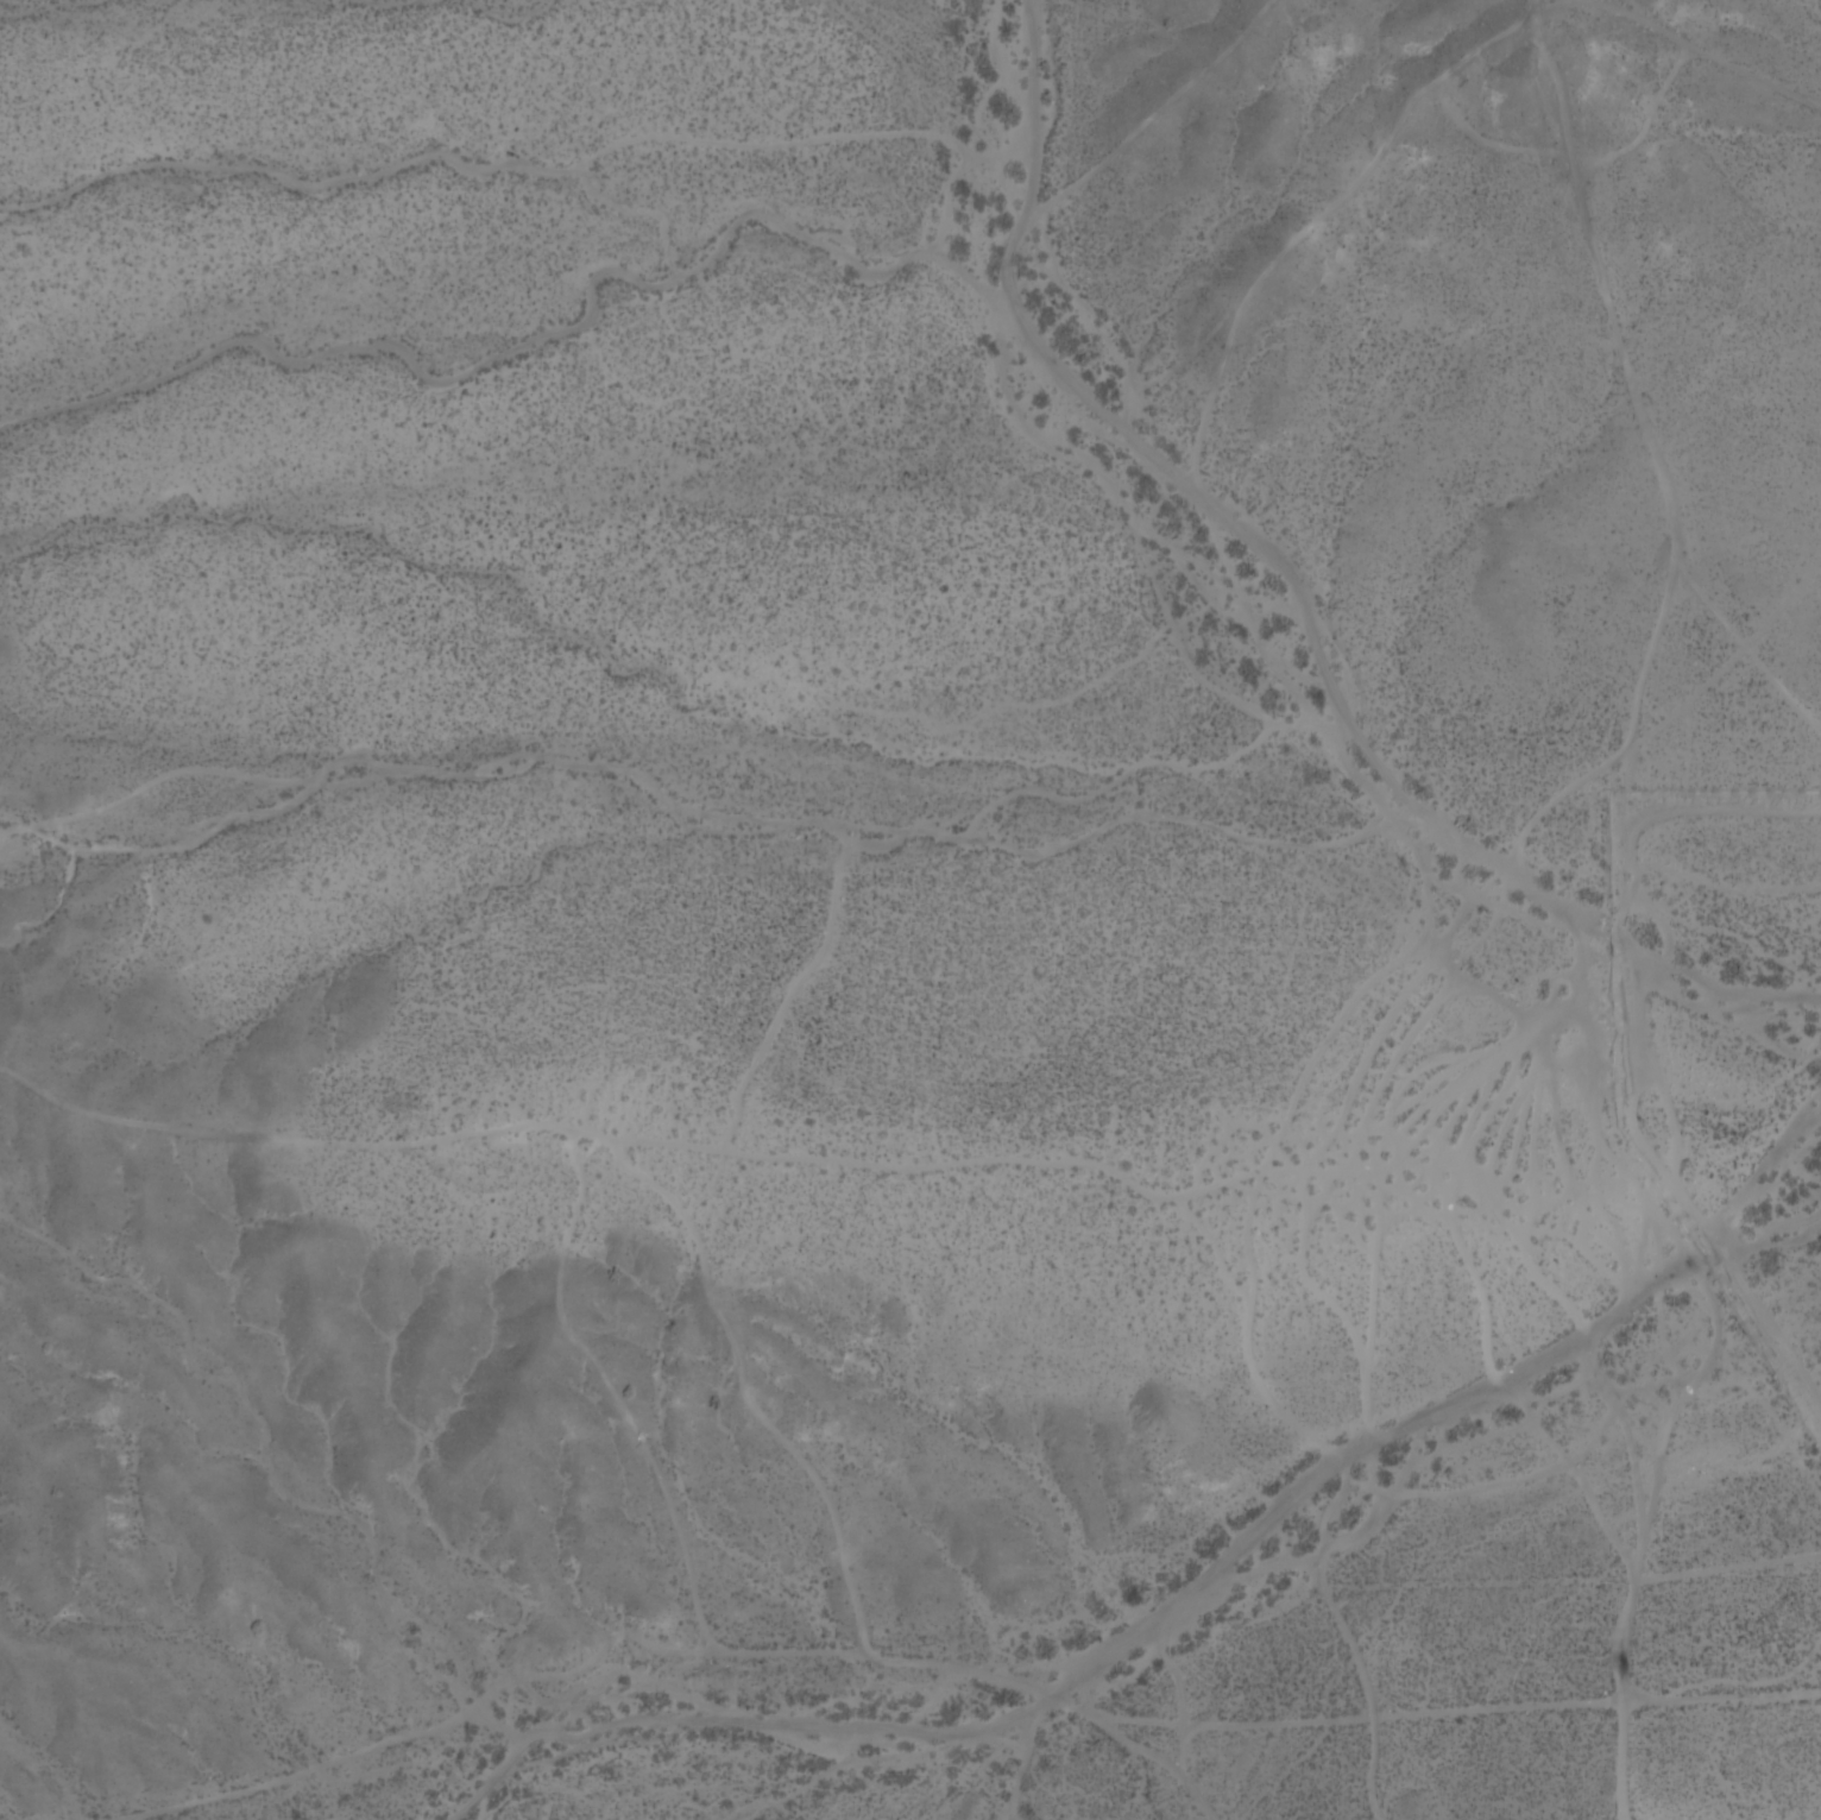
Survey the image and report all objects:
road: (1652, 1574)

